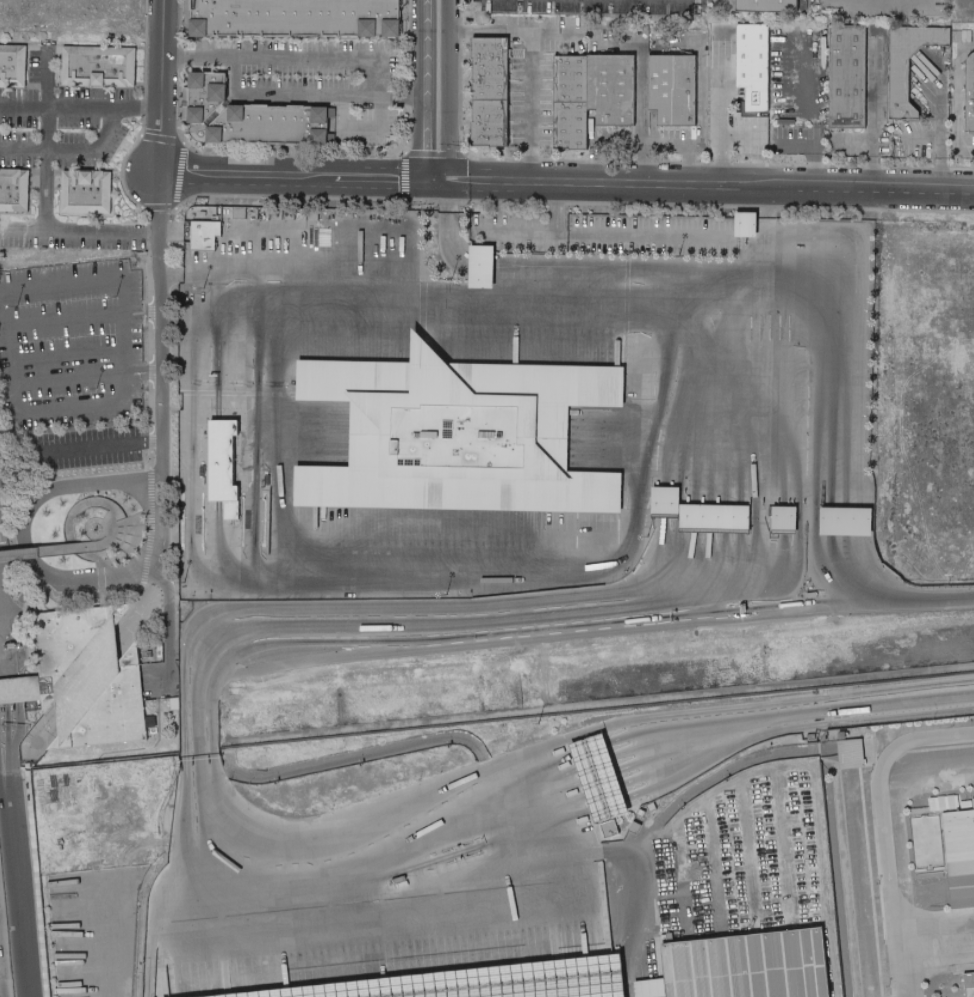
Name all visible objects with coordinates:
road: (725, 4)
building: (770, 5)
building: (292, 18)
road: (484, 29)
road: (288, 61)
building: (12, 65)
building: (97, 68)
building: (753, 70)
road: (529, 82)
building: (849, 83)
road: (159, 85)
building: (900, 87)
road: (418, 91)
road: (439, 91)
building: (611, 93)
building: (673, 94)
building: (490, 96)
road: (307, 97)
building: (970, 99)
road: (22, 105)
building: (570, 106)
road: (102, 107)
road: (955, 110)
building: (252, 116)
road: (370, 130)
road: (43, 137)
road: (717, 139)
road: (939, 141)
road: (662, 143)
road: (89, 146)
road: (871, 146)
road: (21, 149)
road: (816, 161)
road: (293, 176)
road: (706, 188)
building: (86, 193)
building: (14, 194)
building: (744, 226)
road: (77, 229)
building: (206, 235)
road: (512, 238)
road: (615, 240)
building: (481, 267)
road: (599, 267)
road: (251, 274)
road: (214, 283)
road: (792, 287)
road: (707, 298)
road: (156, 303)
road: (64, 318)
parking lot: (70, 344)
road: (67, 354)
road: (86, 375)
road: (122, 390)
building: (458, 433)
road: (275, 442)
road: (92, 444)
building: (221, 468)
road: (667, 484)
road: (143, 502)
building: (664, 503)
road: (147, 512)
road: (67, 518)
building: (713, 519)
building: (265, 521)
building: (783, 521)
road: (109, 524)
building: (844, 524)
road: (20, 529)
road: (112, 530)
road: (122, 530)
road: (132, 530)
road: (256, 538)
road: (130, 545)
road: (54, 550)
road: (3, 588)
road: (109, 590)
road: (95, 595)
road: (627, 602)
road: (888, 604)
road: (149, 608)
road: (3, 615)
road: (3, 616)
road: (3, 619)
road: (166, 622)
road: (3, 624)
road: (3, 640)
road: (11, 643)
road: (462, 643)
road: (7, 644)
road: (109, 655)
parking lot: (162, 674)
building: (90, 677)
road: (75, 678)
road: (16, 690)
building: (20, 690)
road: (78, 690)
road: (7, 691)
road: (85, 700)
road: (792, 716)
road: (255, 719)
road: (35, 728)
road: (42, 735)
building: (842, 736)
road: (6, 740)
road: (15, 740)
road: (52, 744)
road: (47, 746)
road: (595, 753)
building: (850, 753)
building: (24, 754)
road: (26, 763)
building: (602, 773)
road: (782, 773)
building: (973, 789)
road: (545, 815)
road: (883, 829)
road: (656, 836)
road: (787, 845)
road: (751, 848)
road: (715, 862)
road: (347, 866)
building: (961, 871)
road: (34, 879)
building: (40, 882)
road: (472, 885)
road: (20, 886)
road: (40, 886)
road: (110, 890)
road: (154, 912)
road: (155, 961)
building: (746, 966)
building: (969, 979)
building: (476, 981)
road: (112, 990)
road: (90, 994)

